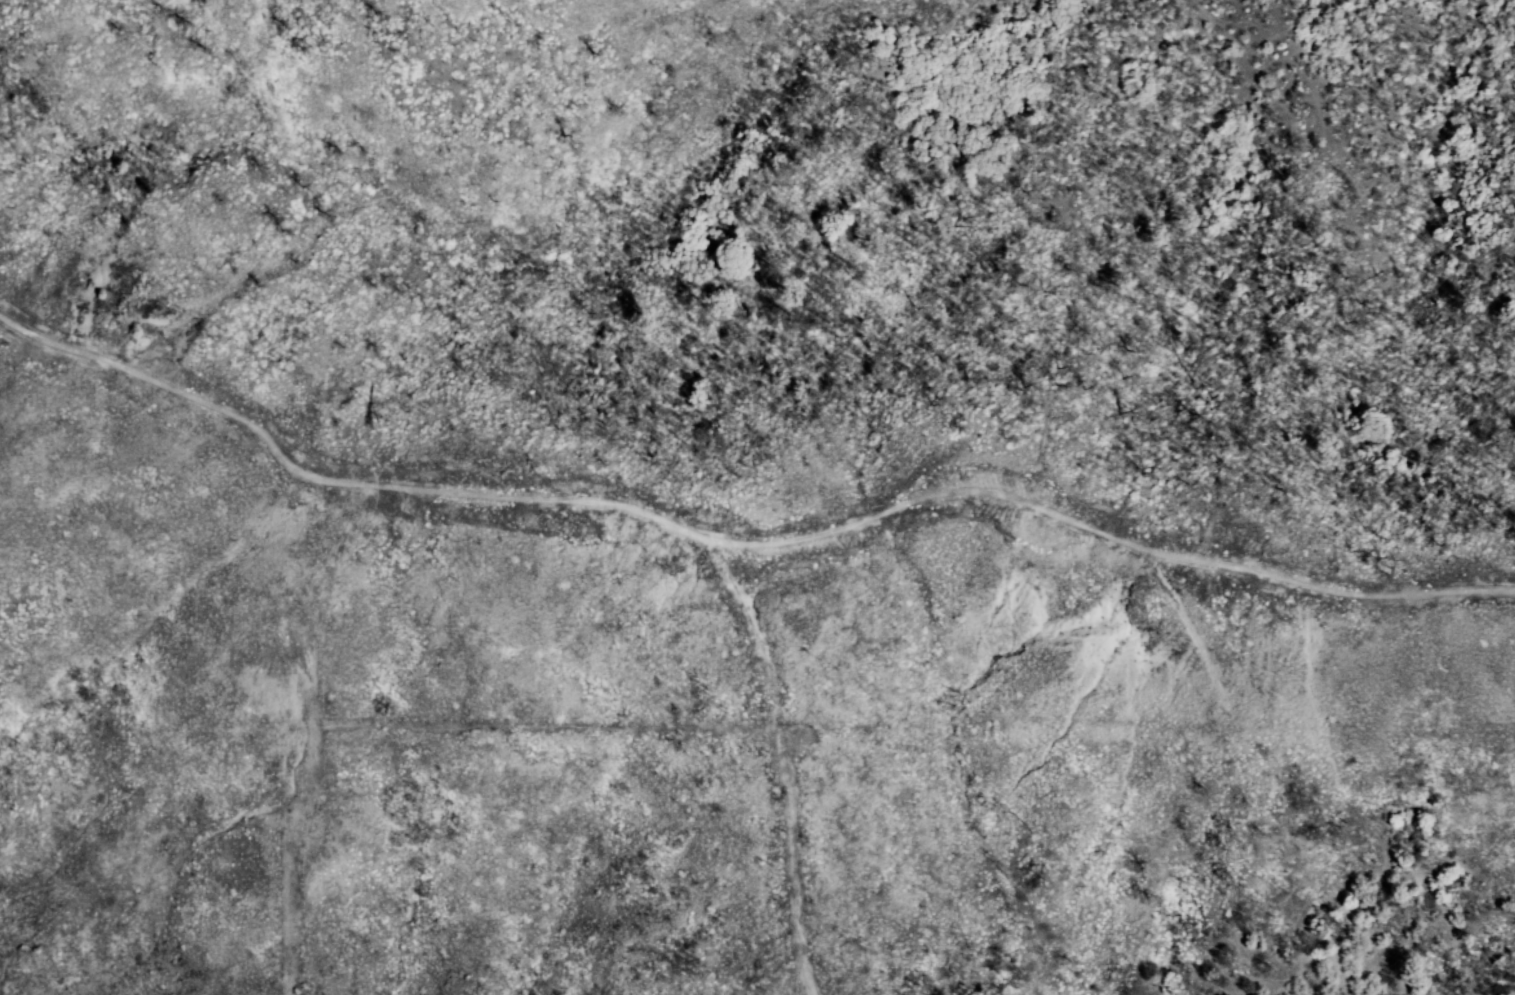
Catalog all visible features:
road: (572, 497)
road: (1109, 539)
road: (401, 735)

